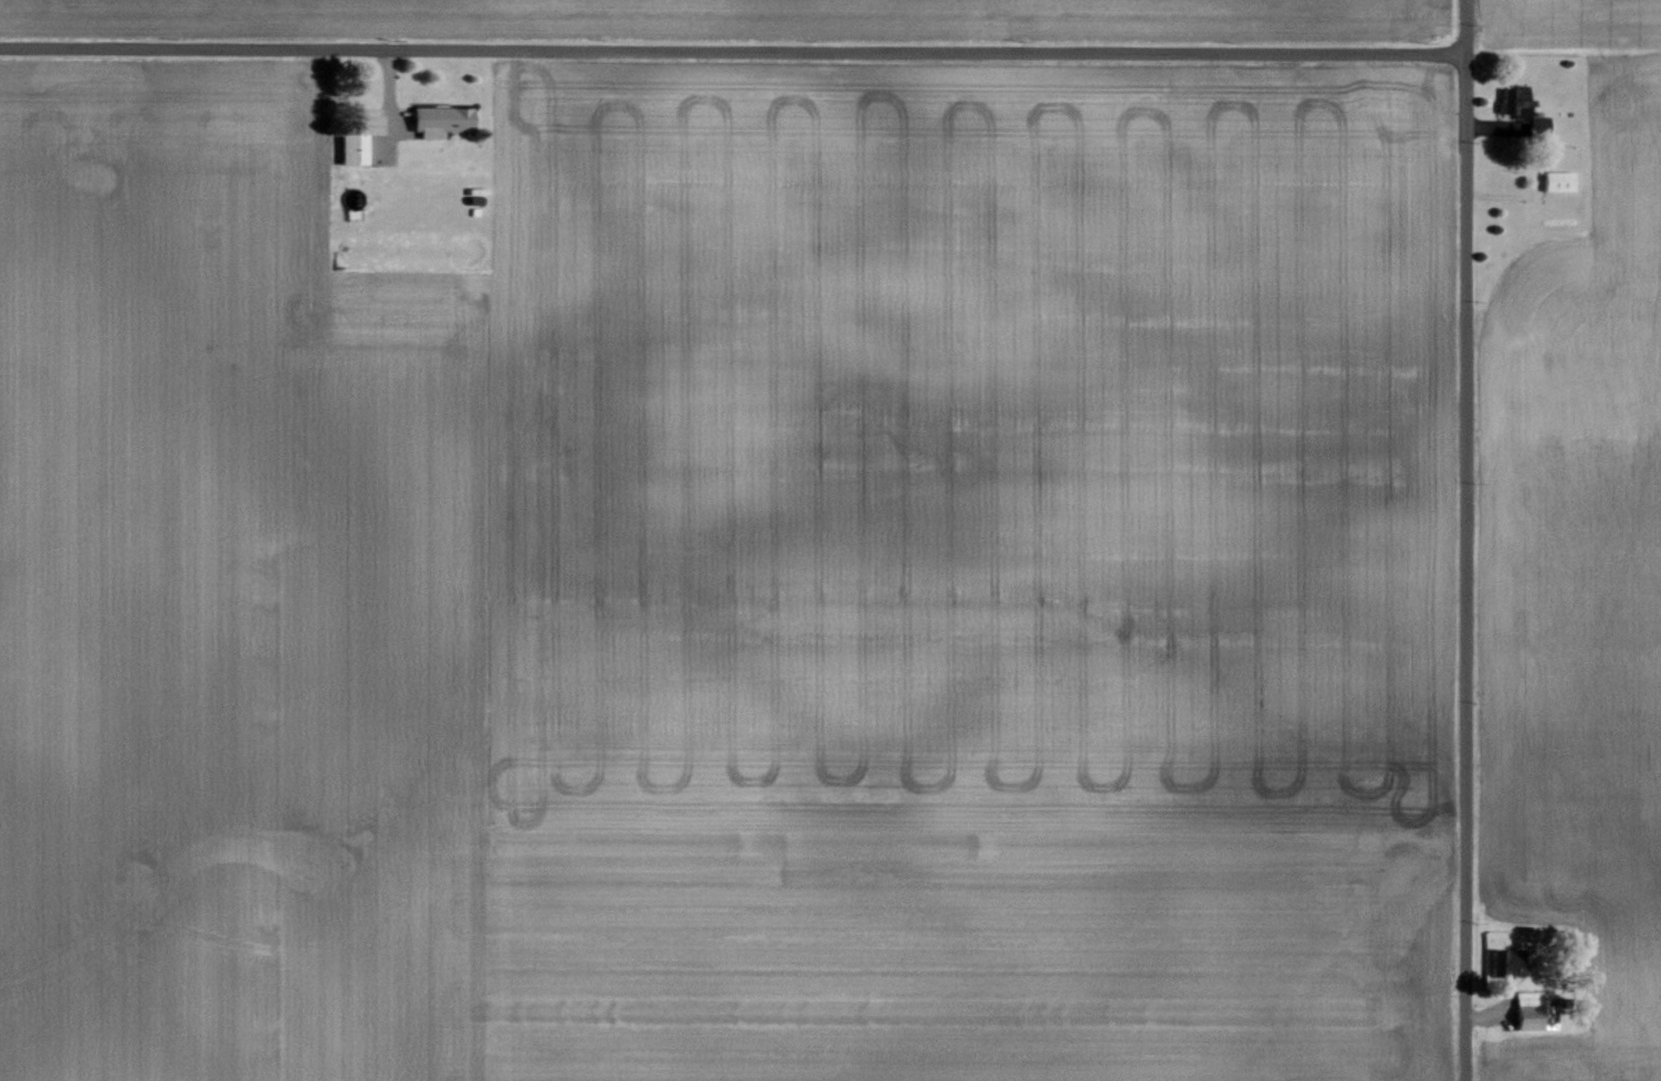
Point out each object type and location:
road: (730, 50)
building: (1511, 99)
building: (439, 122)
building: (350, 150)
building: (1556, 181)
road: (1462, 540)
building: (1532, 1012)

